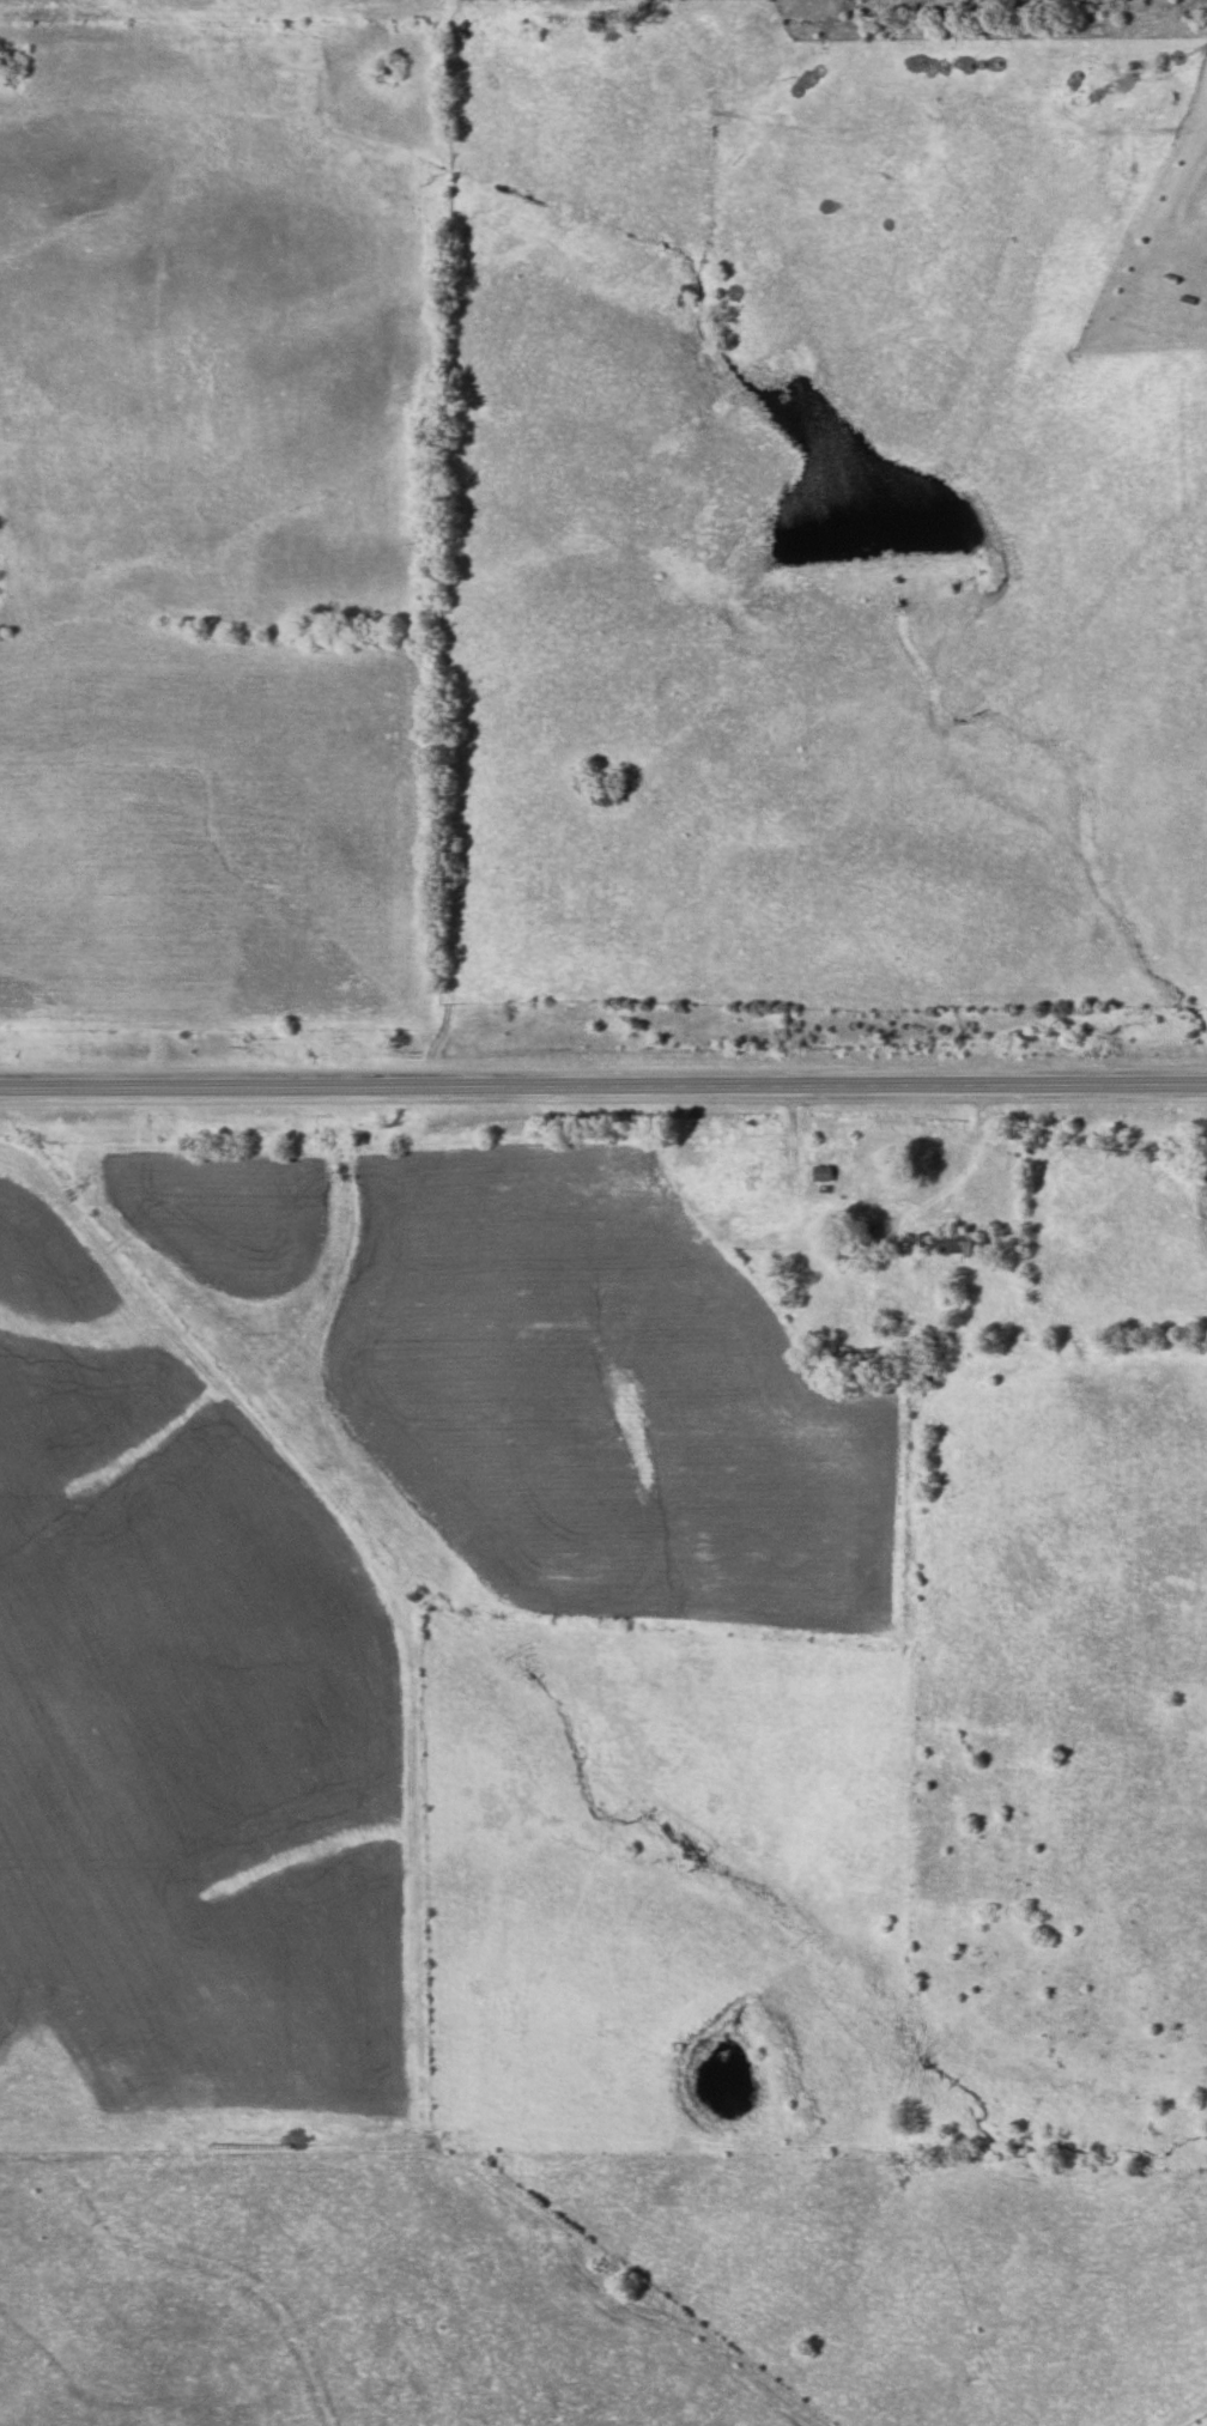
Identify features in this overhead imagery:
road: (603, 1085)
building: (739, 1167)
building: (818, 1173)
building: (952, 1242)

